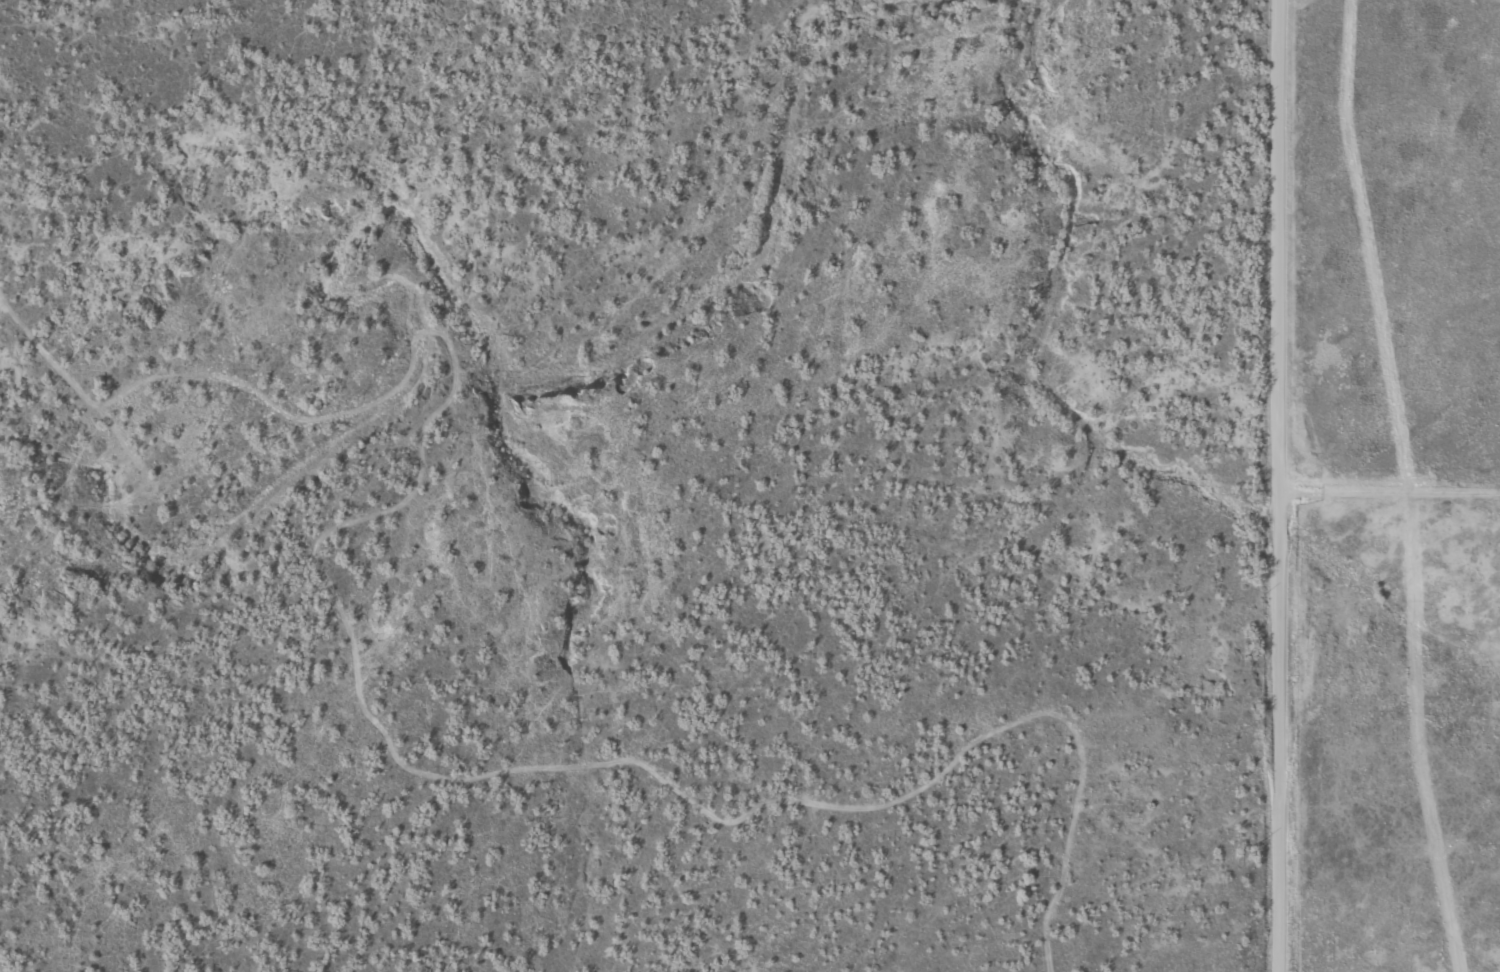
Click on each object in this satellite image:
road: (1299, 485)
road: (1399, 489)

